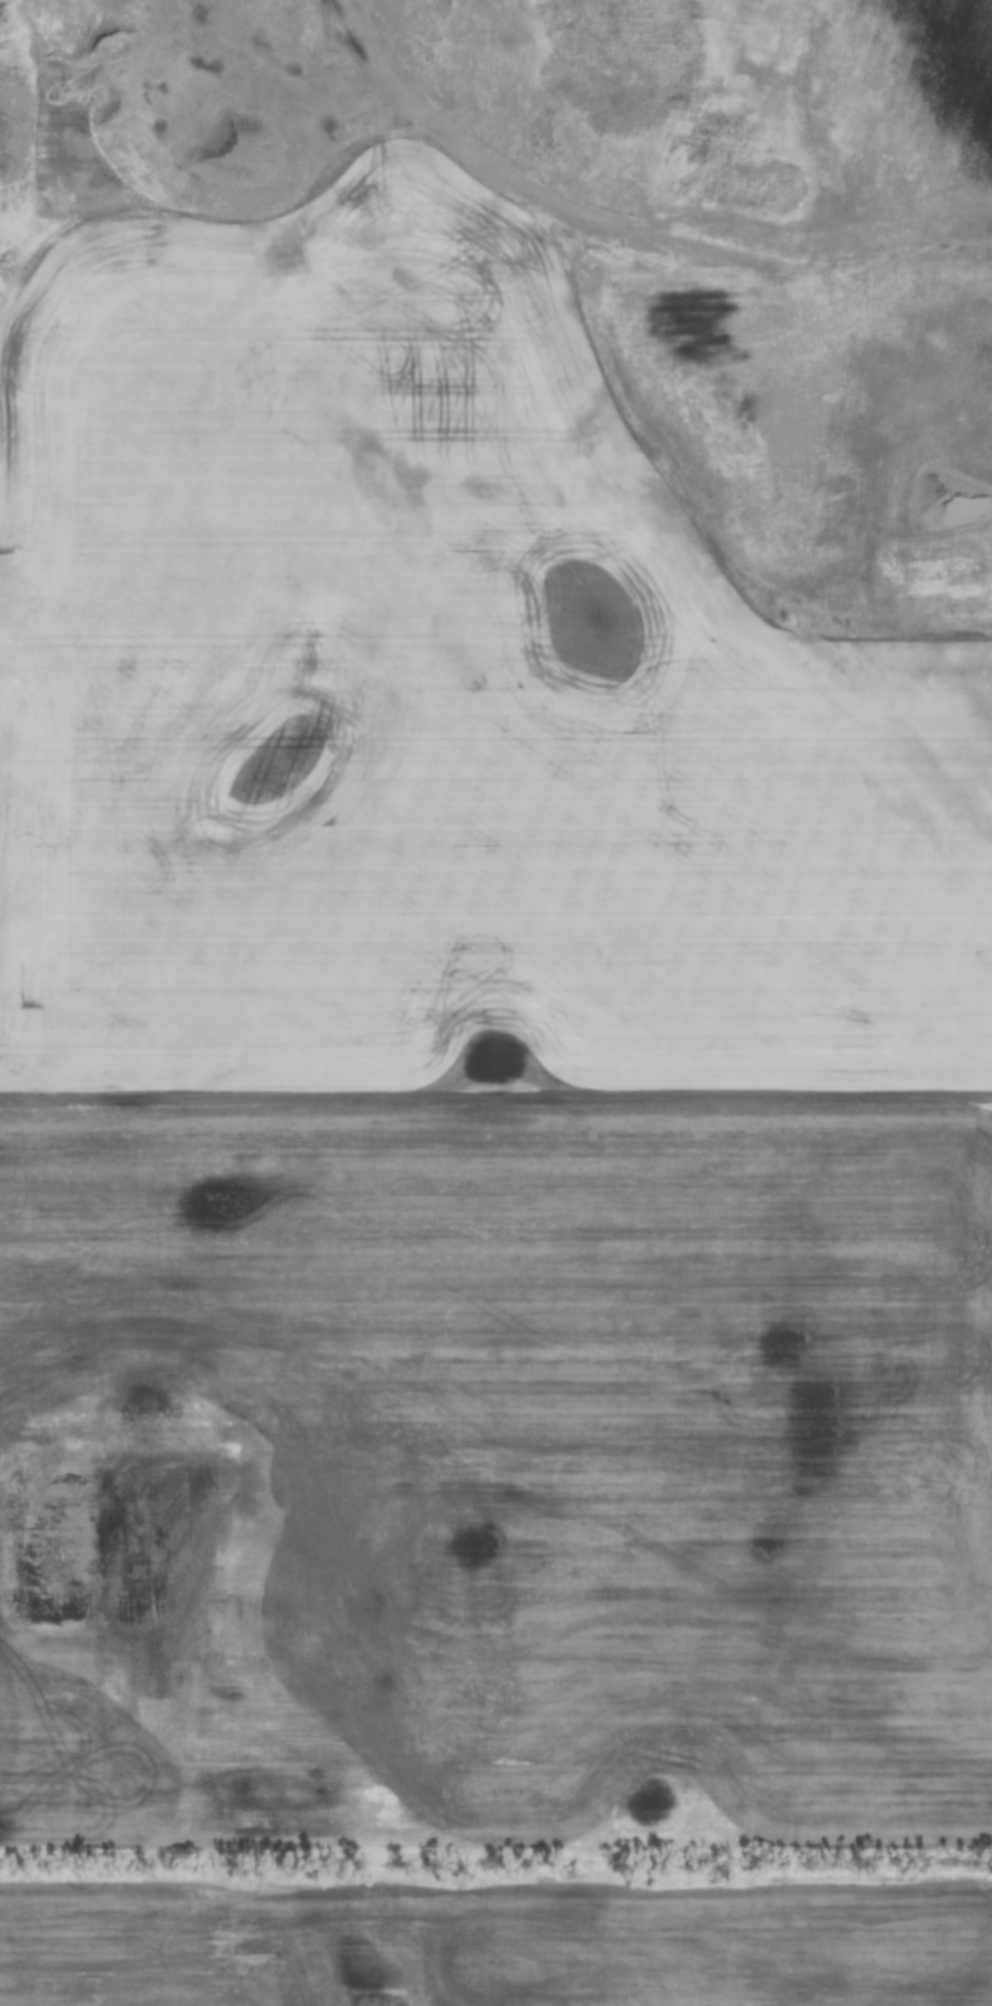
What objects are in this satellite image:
road: (496, 1083)

